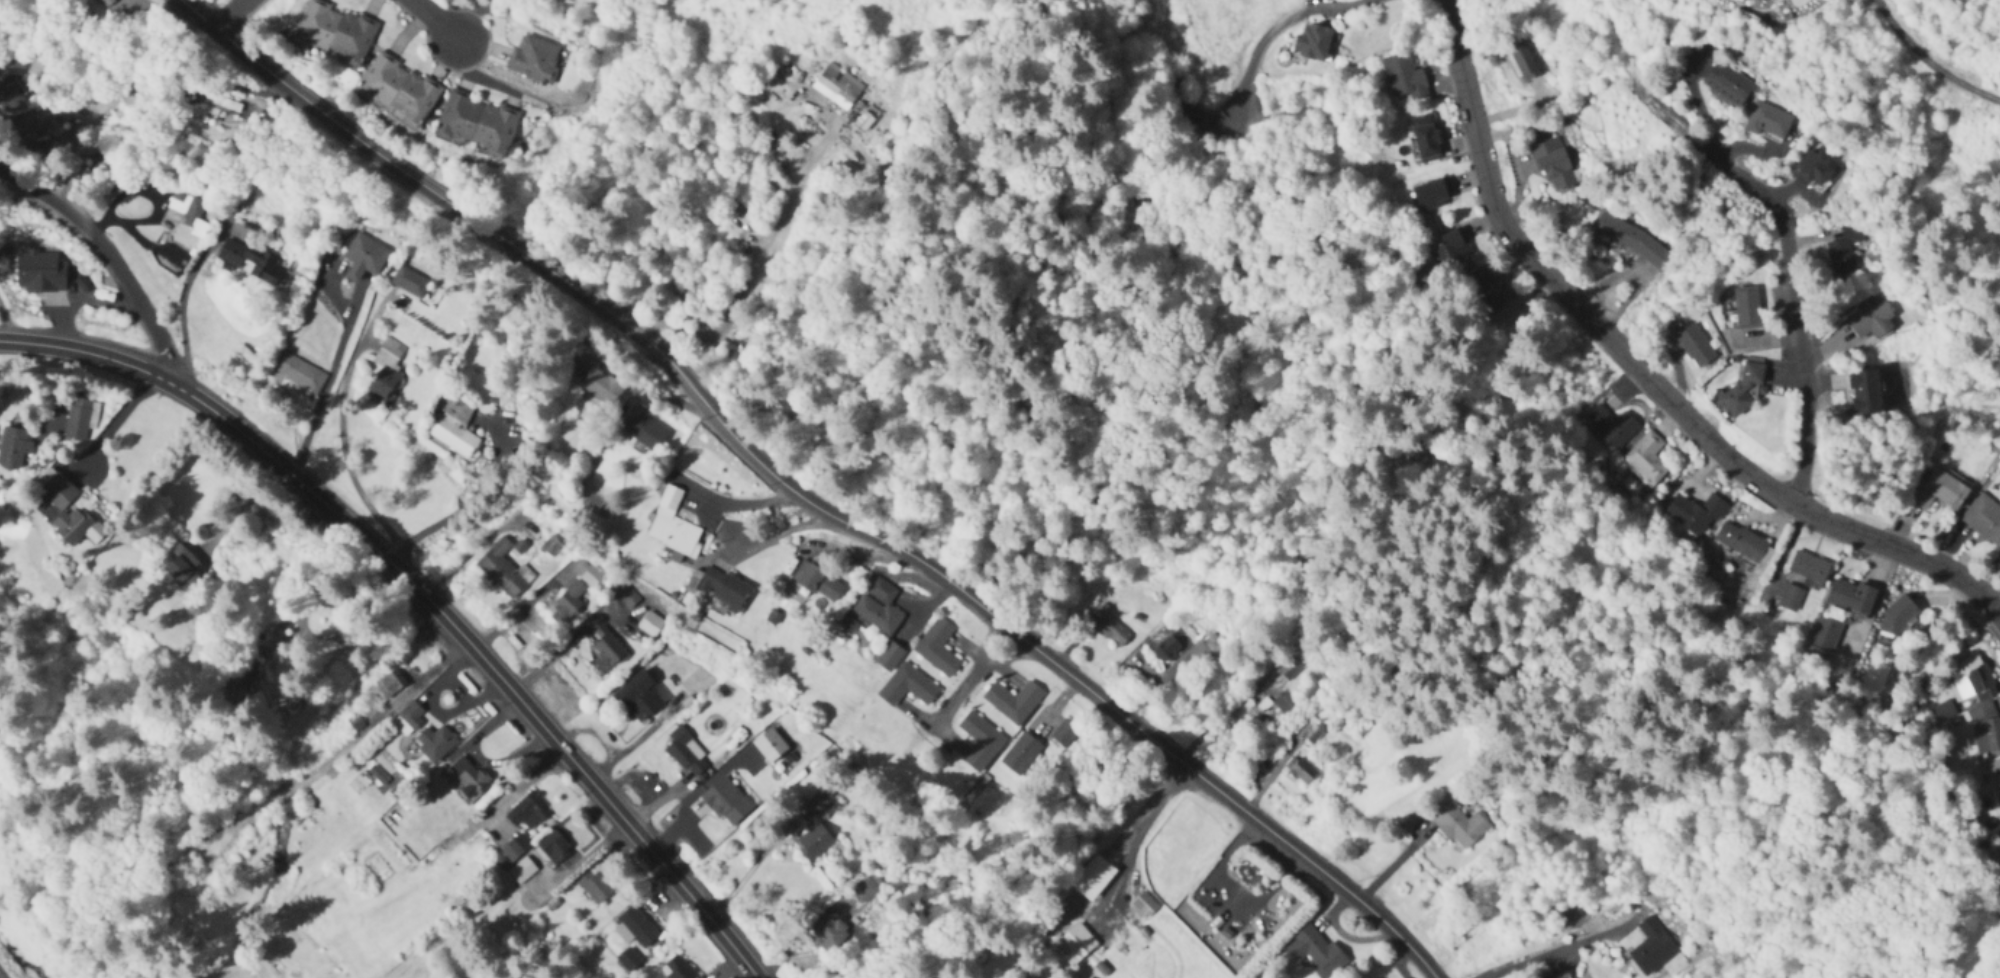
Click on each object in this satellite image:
building: (1765, 0)
building: (107, 2)
road: (231, 14)
road: (436, 21)
road: (1273, 30)
building: (335, 32)
building: (1314, 43)
building: (535, 58)
building: (1524, 62)
road: (1927, 63)
building: (12, 64)
building: (1406, 78)
building: (1728, 86)
building: (837, 87)
building: (399, 90)
building: (223, 103)
building: (34, 123)
building: (478, 123)
building: (1768, 123)
building: (1426, 139)
building: (104, 158)
building: (1554, 166)
building: (1815, 169)
building: (1433, 195)
building: (194, 218)
building: (1631, 240)
building: (1452, 249)
building: (1846, 252)
building: (364, 258)
road: (114, 259)
building: (249, 262)
building: (40, 272)
road: (757, 272)
road: (1793, 279)
building: (409, 282)
building: (1492, 292)
building: (1748, 309)
road: (175, 318)
building: (1872, 321)
road: (3, 331)
building: (1696, 348)
building: (297, 372)
road: (1642, 373)
building: (595, 381)
building: (385, 385)
road: (321, 386)
building: (1866, 391)
building: (1743, 392)
building: (79, 418)
road: (113, 421)
building: (454, 426)
building: (1612, 426)
building: (643, 429)
road: (343, 445)
building: (13, 448)
building: (1646, 458)
building: (1945, 487)
road: (806, 499)
road: (236, 505)
road: (454, 506)
building: (61, 507)
building: (1694, 512)
building: (1984, 519)
building: (672, 525)
road: (722, 527)
building: (1745, 545)
building: (550, 546)
road: (458, 558)
building: (179, 563)
building: (1809, 566)
building: (503, 569)
building: (590, 576)
building: (815, 580)
building: (722, 587)
road: (323, 590)
road: (419, 597)
building: (1850, 597)
building: (1791, 598)
building: (569, 600)
building: (878, 606)
building: (1900, 616)
building: (1105, 625)
building: (1825, 633)
building: (607, 647)
building: (937, 647)
building: (1165, 649)
road: (554, 654)
building: (888, 656)
building: (1204, 656)
road: (992, 657)
building: (1287, 666)
building: (241, 678)
building: (1972, 680)
building: (389, 684)
building: (906, 686)
road: (963, 691)
building: (638, 696)
building: (1013, 701)
building: (1276, 708)
building: (1943, 712)
building: (408, 718)
building: (1986, 728)
building: (1064, 734)
building: (1311, 734)
building: (979, 740)
building: (434, 742)
building: (686, 753)
building: (1021, 754)
building: (1997, 765)
building: (1301, 771)
building: (470, 774)
building: (814, 803)
building: (528, 809)
building: (715, 811)
building: (1458, 825)
road: (1130, 833)
building: (813, 841)
building: (554, 846)
building: (511, 848)
road: (749, 867)
building: (522, 869)
building: (1094, 877)
building: (594, 885)
building: (865, 888)
building: (1144, 905)
building: (828, 931)
building: (1074, 944)
building: (1648, 946)
road: (1550, 949)
building: (1316, 952)
building: (590, 968)
building: (676, 968)
park: (6, 970)
road: (2, 975)

